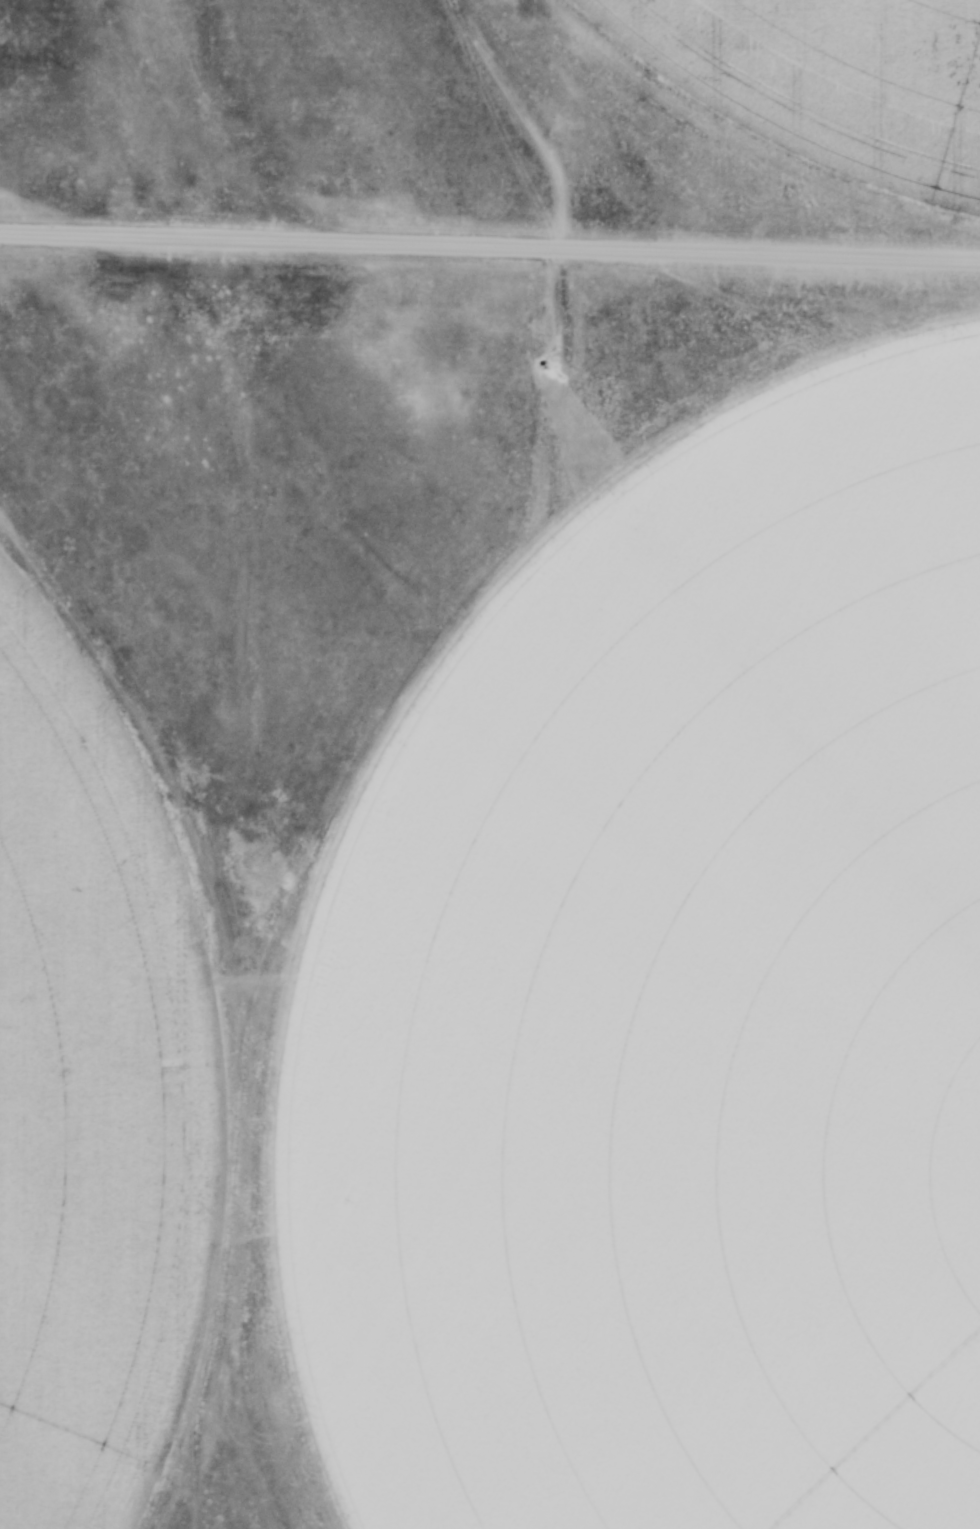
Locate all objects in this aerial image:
crop: (825, 82)
road: (490, 249)
crop: (654, 1038)
crop: (90, 1095)

